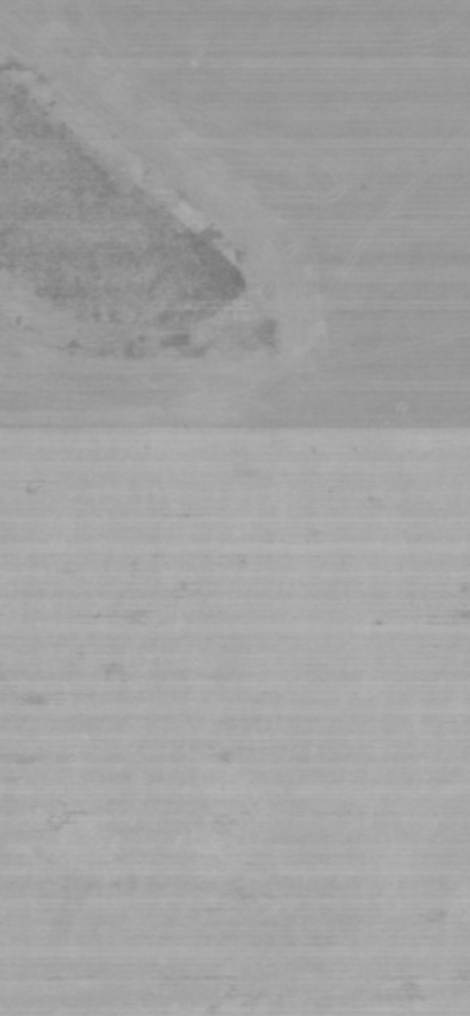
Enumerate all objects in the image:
crop: (235, 508)

